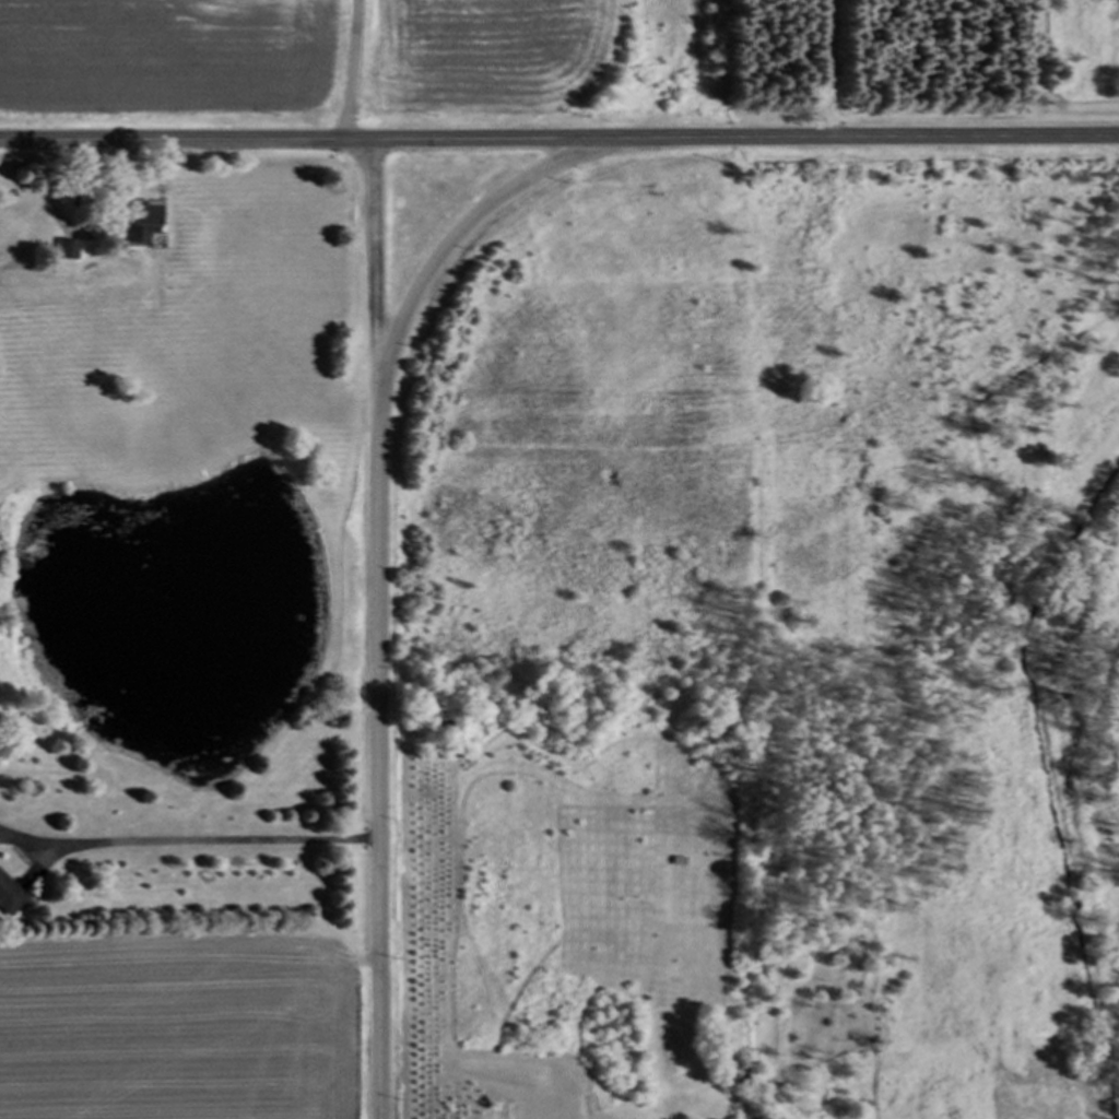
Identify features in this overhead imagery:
road: (826, 66)
road: (352, 70)
road: (559, 139)
building: (138, 222)
building: (66, 248)
road: (378, 283)
road: (379, 581)
building: (9, 895)

